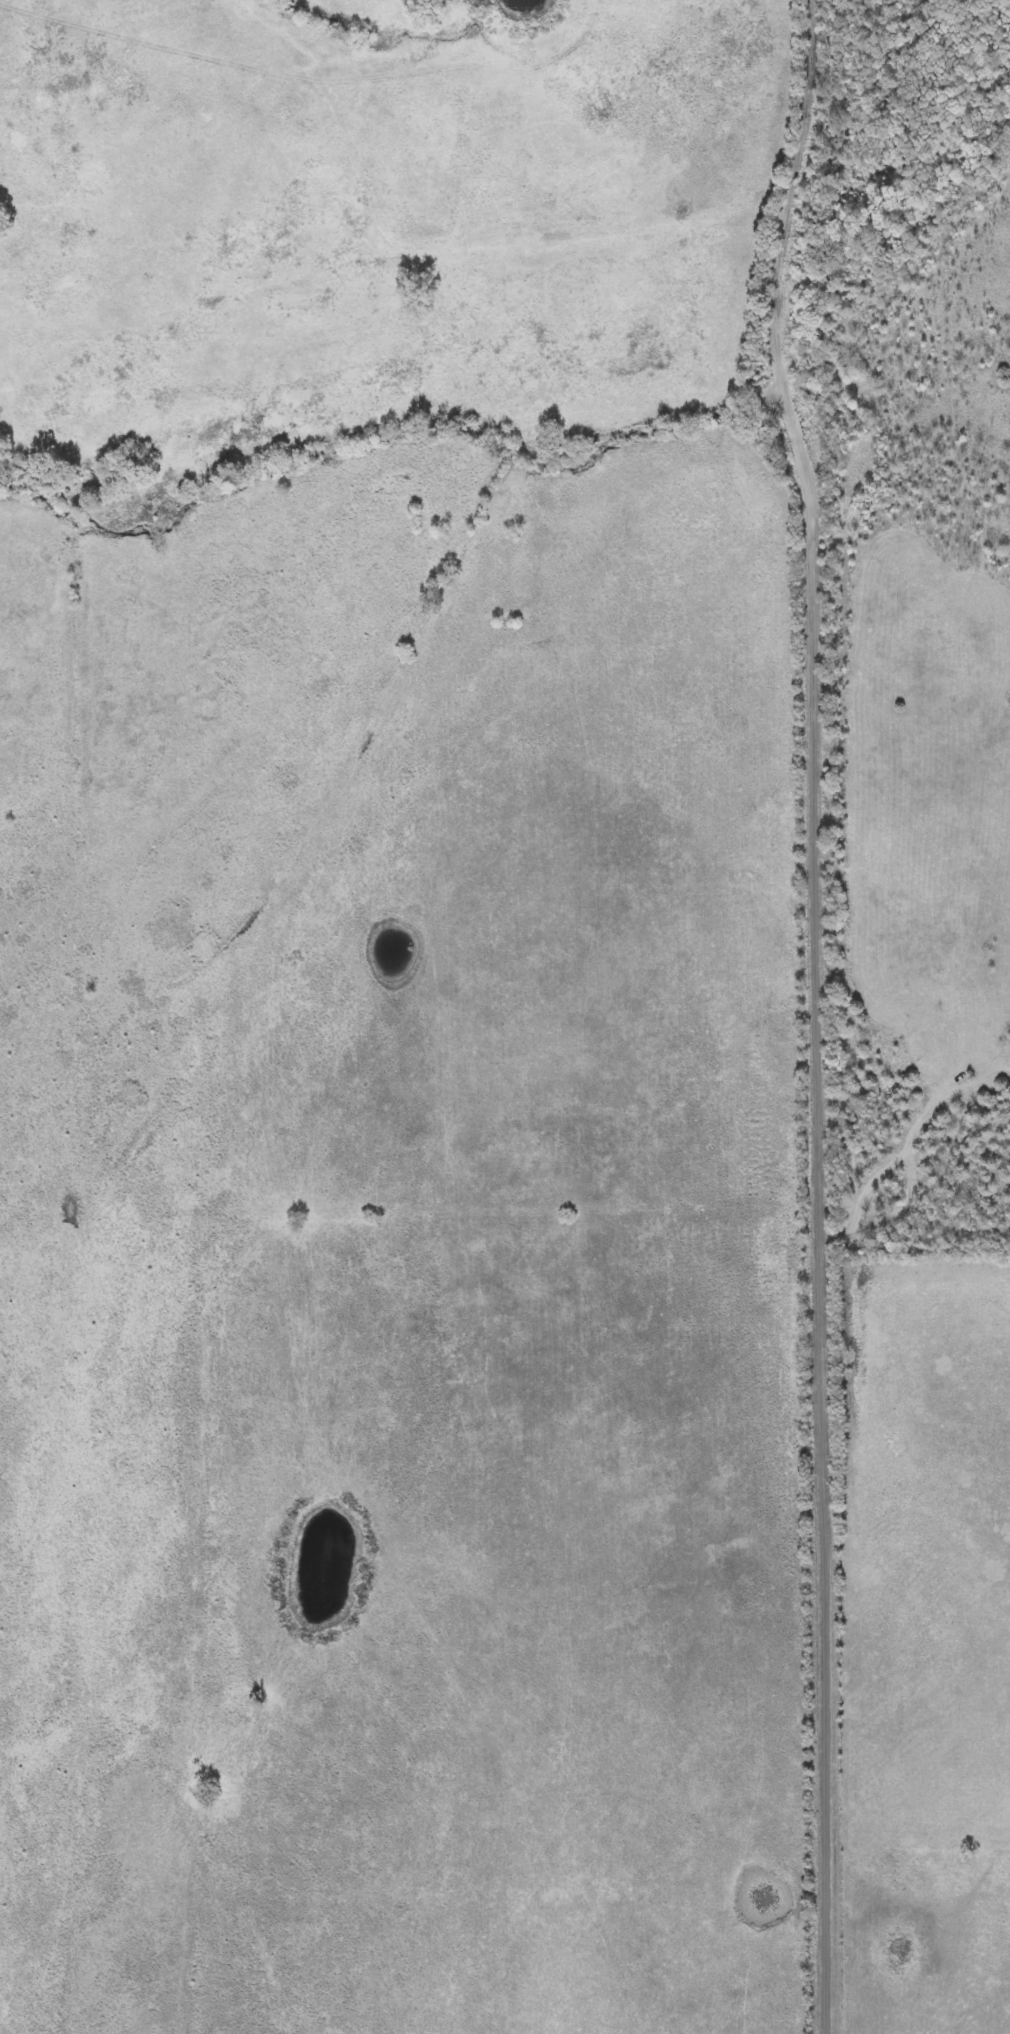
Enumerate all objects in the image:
road: (793, 210)
road: (792, 428)
road: (819, 1233)

